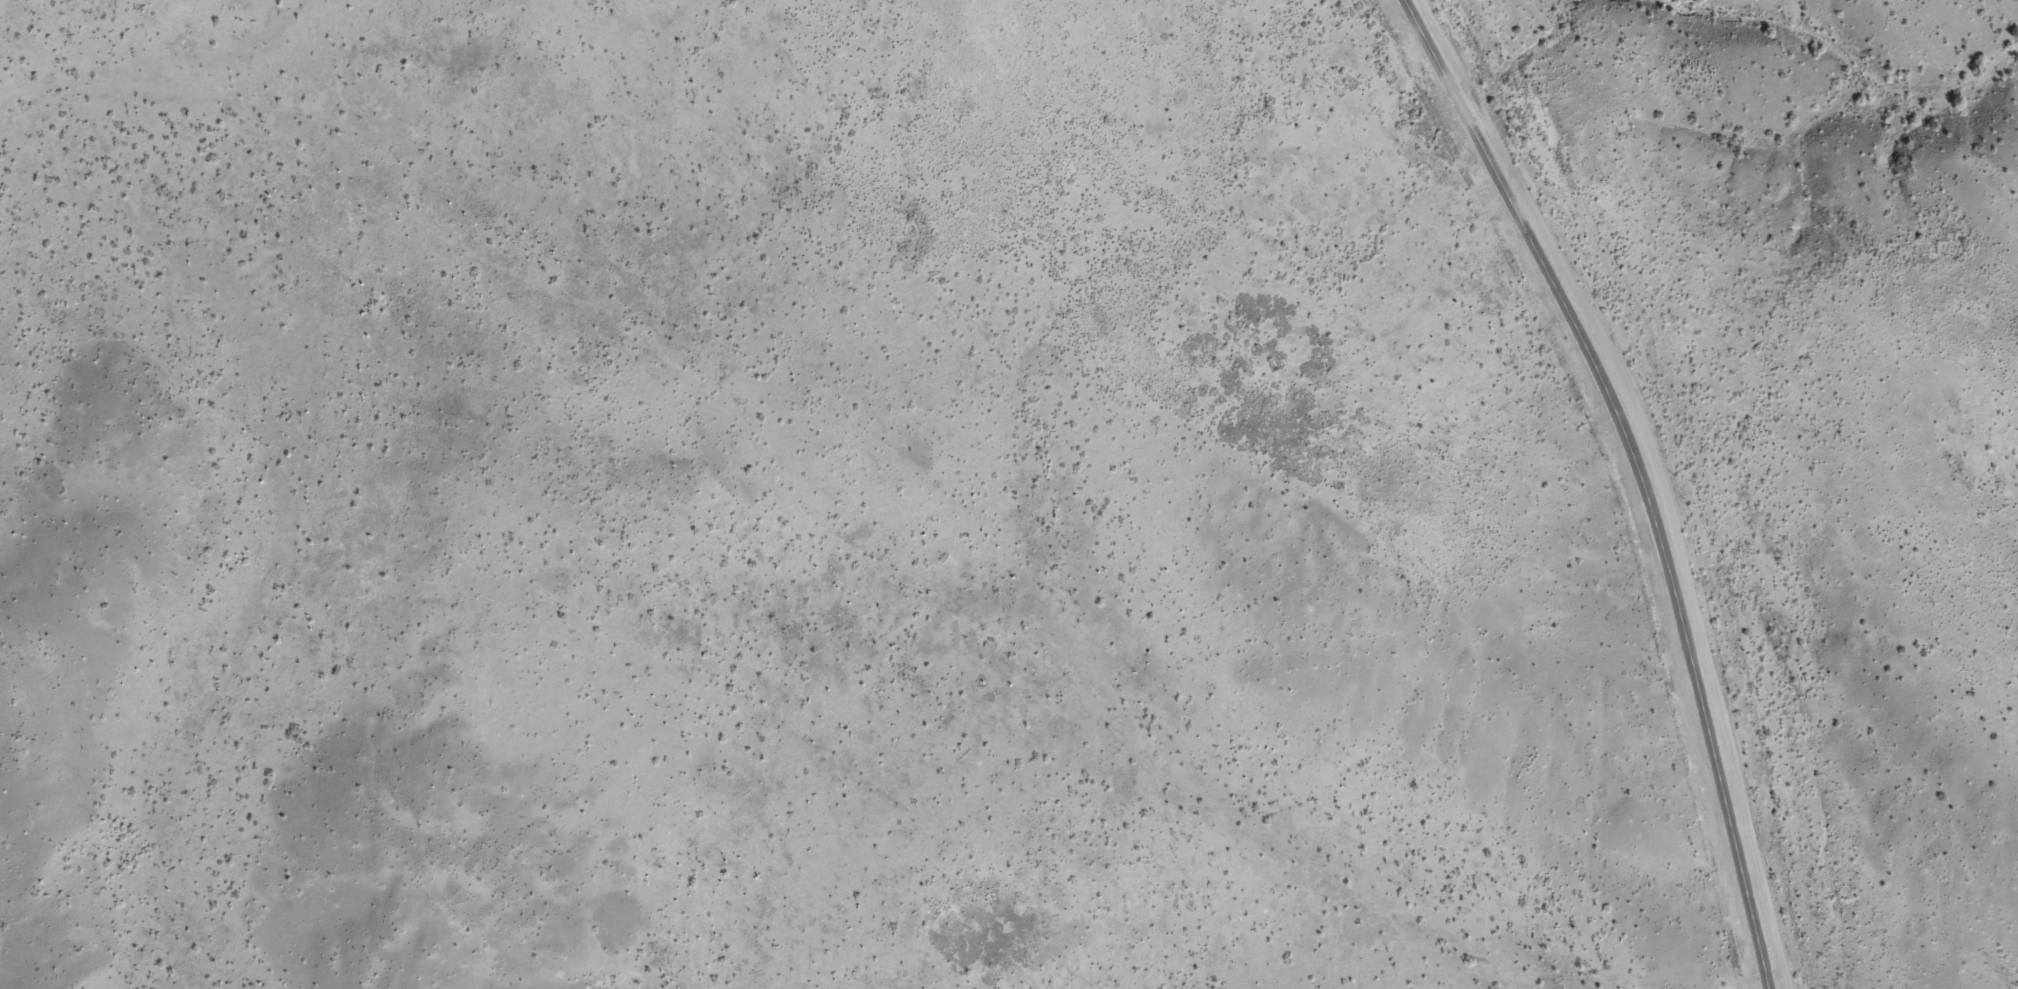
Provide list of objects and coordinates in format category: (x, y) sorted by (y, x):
road: (1641, 474)

